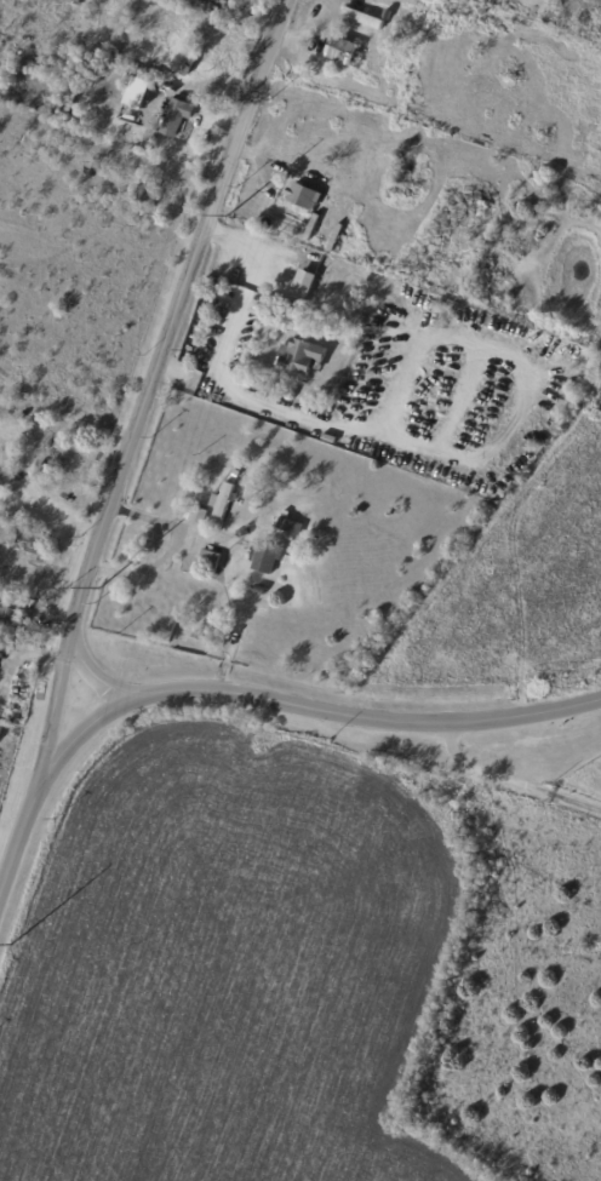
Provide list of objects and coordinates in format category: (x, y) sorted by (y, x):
building: (492, 10)
building: (362, 16)
building: (443, 42)
building: (343, 51)
building: (316, 57)
building: (70, 67)
building: (116, 80)
building: (88, 85)
building: (149, 86)
building: (336, 86)
building: (177, 116)
building: (150, 138)
building: (93, 167)
building: (372, 168)
building: (413, 183)
building: (149, 190)
building: (304, 196)
building: (359, 210)
building: (325, 233)
building: (427, 242)
building: (304, 286)
building: (355, 297)
building: (303, 357)
road: (149, 383)
building: (328, 436)
building: (236, 474)
building: (273, 483)
building: (224, 500)
building: (291, 523)
building: (27, 539)
road: (172, 547)
building: (268, 556)
building: (10, 608)
building: (214, 623)
building: (200, 636)
road: (93, 673)
road: (241, 695)
building: (1, 732)
road: (511, 779)

